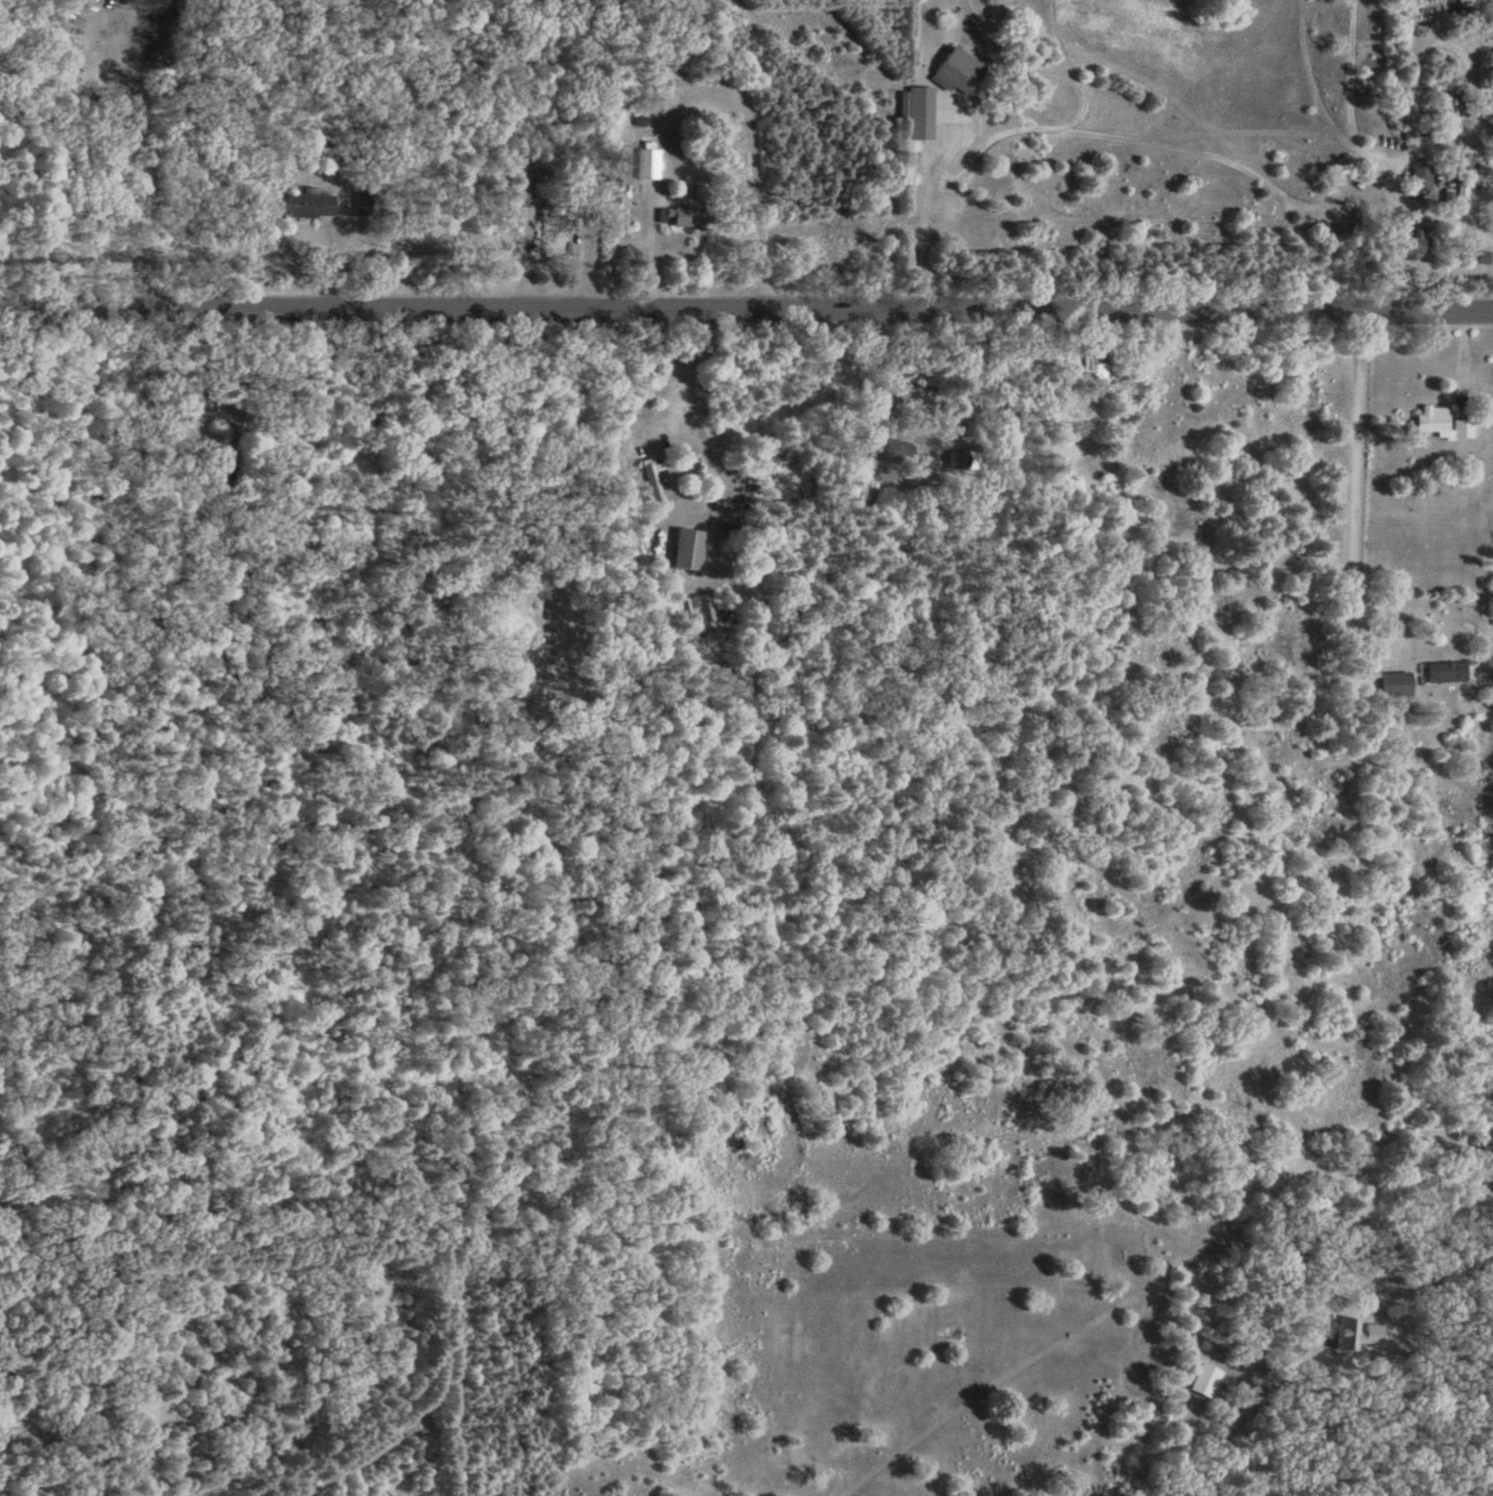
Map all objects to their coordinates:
building: (913, 76)
building: (953, 76)
building: (914, 108)
road: (1208, 155)
road: (134, 161)
building: (648, 165)
building: (1420, 181)
building: (1466, 205)
building: (308, 208)
building: (680, 221)
road: (921, 235)
building: (1411, 251)
road: (652, 255)
building: (1483, 260)
road: (746, 305)
building: (1090, 365)
road: (697, 376)
road: (990, 389)
building: (1441, 424)
building: (890, 453)
road: (1356, 473)
building: (653, 486)
building: (687, 552)
building: (1444, 675)
building: (1394, 687)
road: (1434, 1264)
building: (1354, 1338)
building: (1203, 1383)

